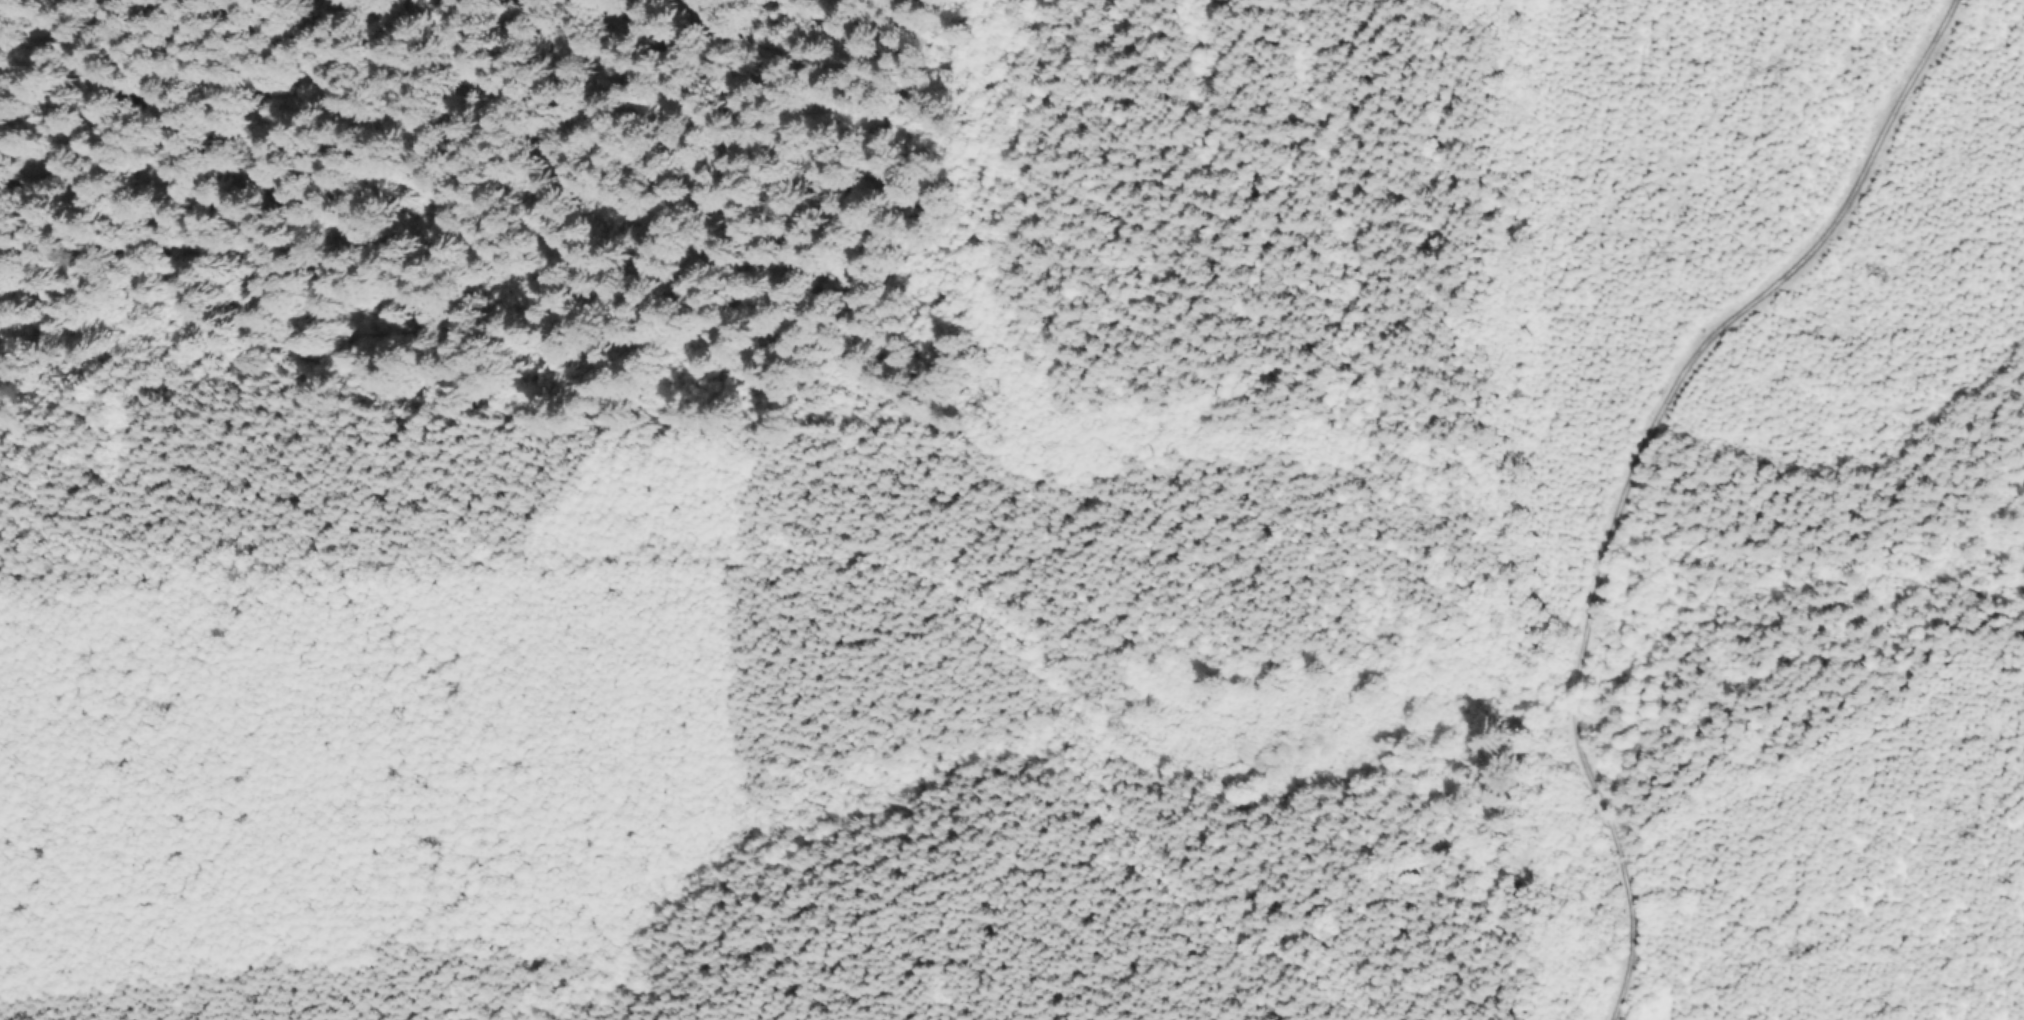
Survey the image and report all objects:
road: (1640, 469)

